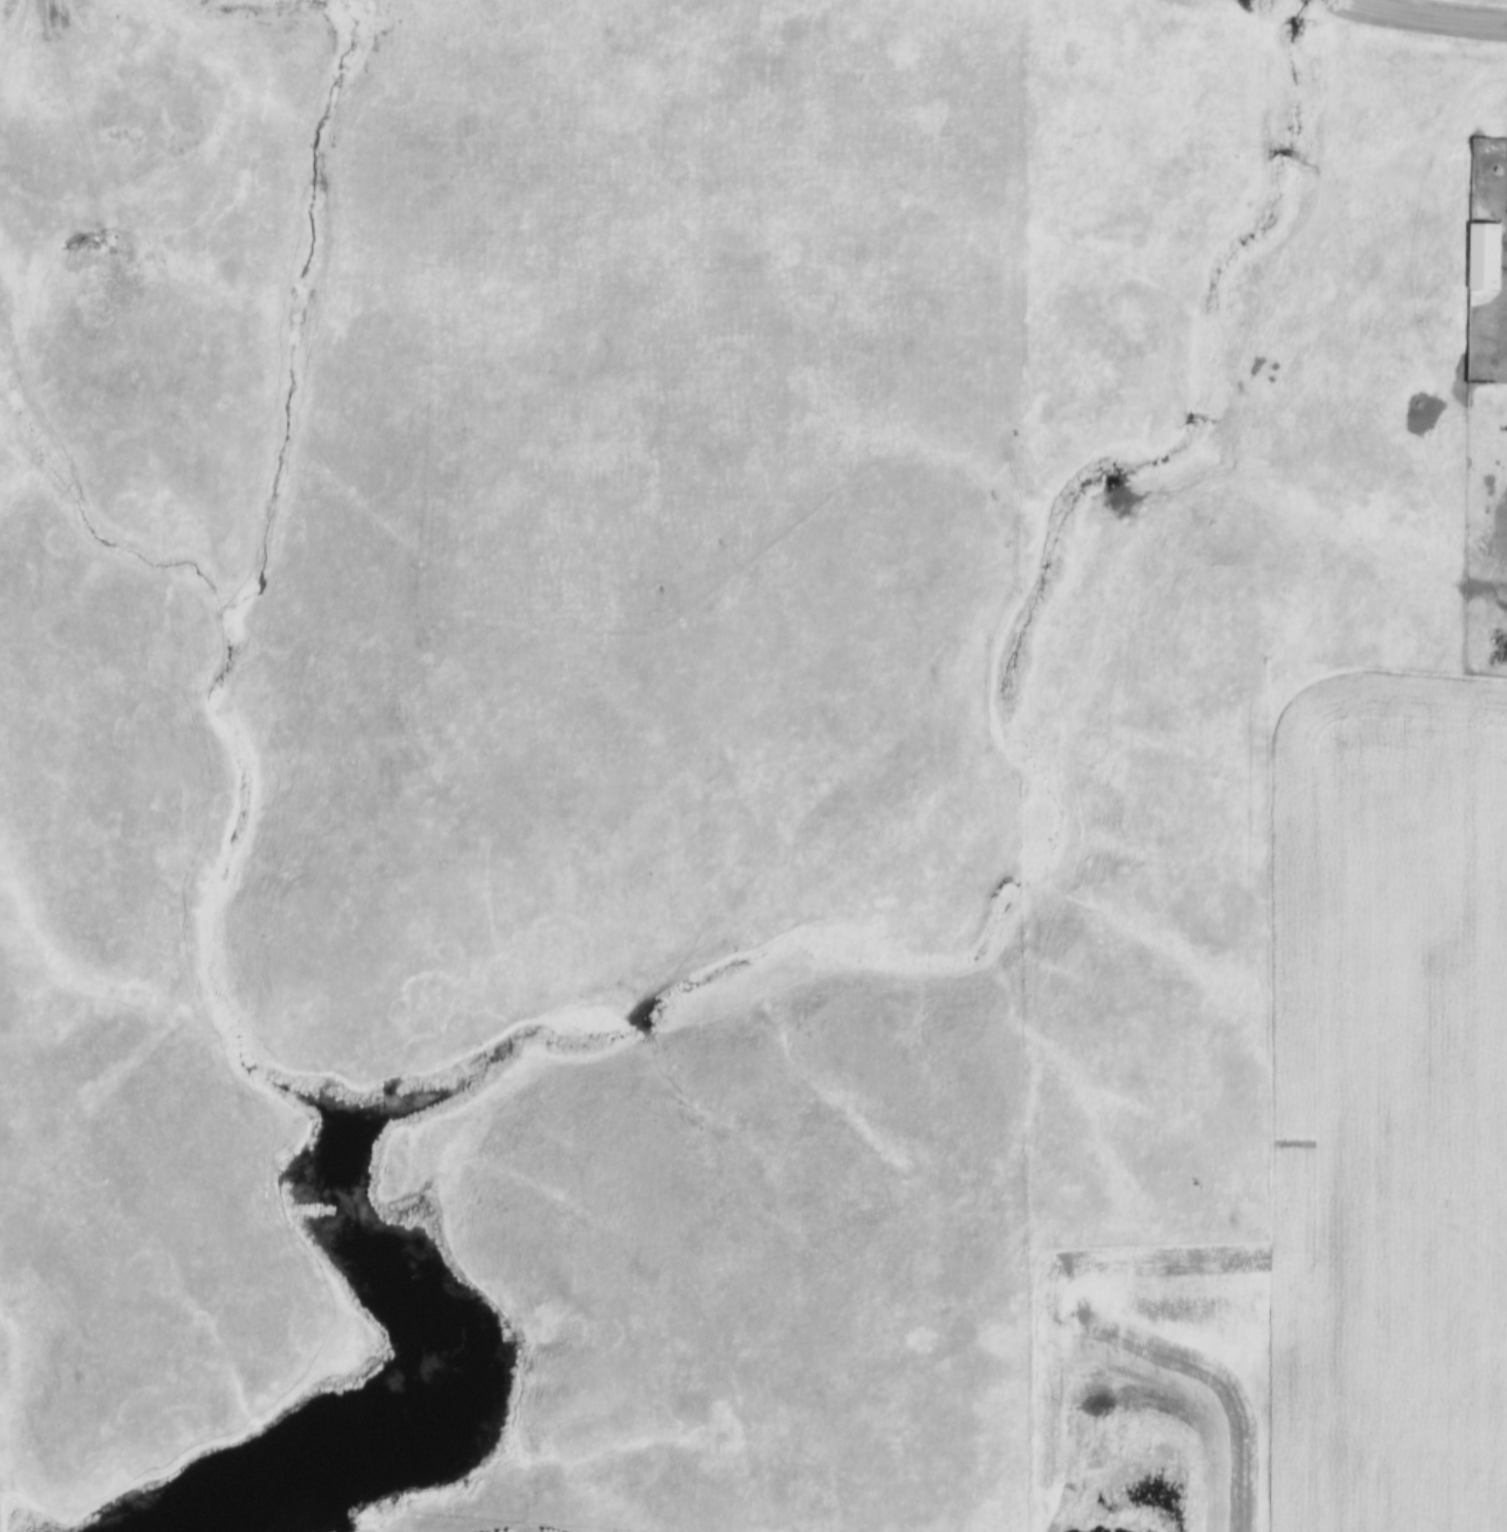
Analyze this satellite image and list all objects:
road: (1425, 18)
building: (1489, 258)
road: (361, 1530)

